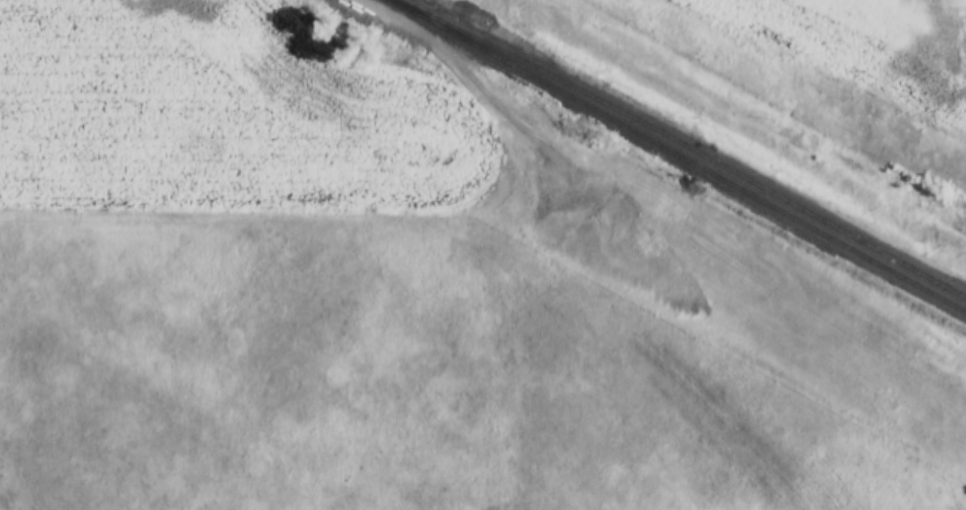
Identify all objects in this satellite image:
road: (436, 46)
railway: (682, 145)
railway: (677, 156)

